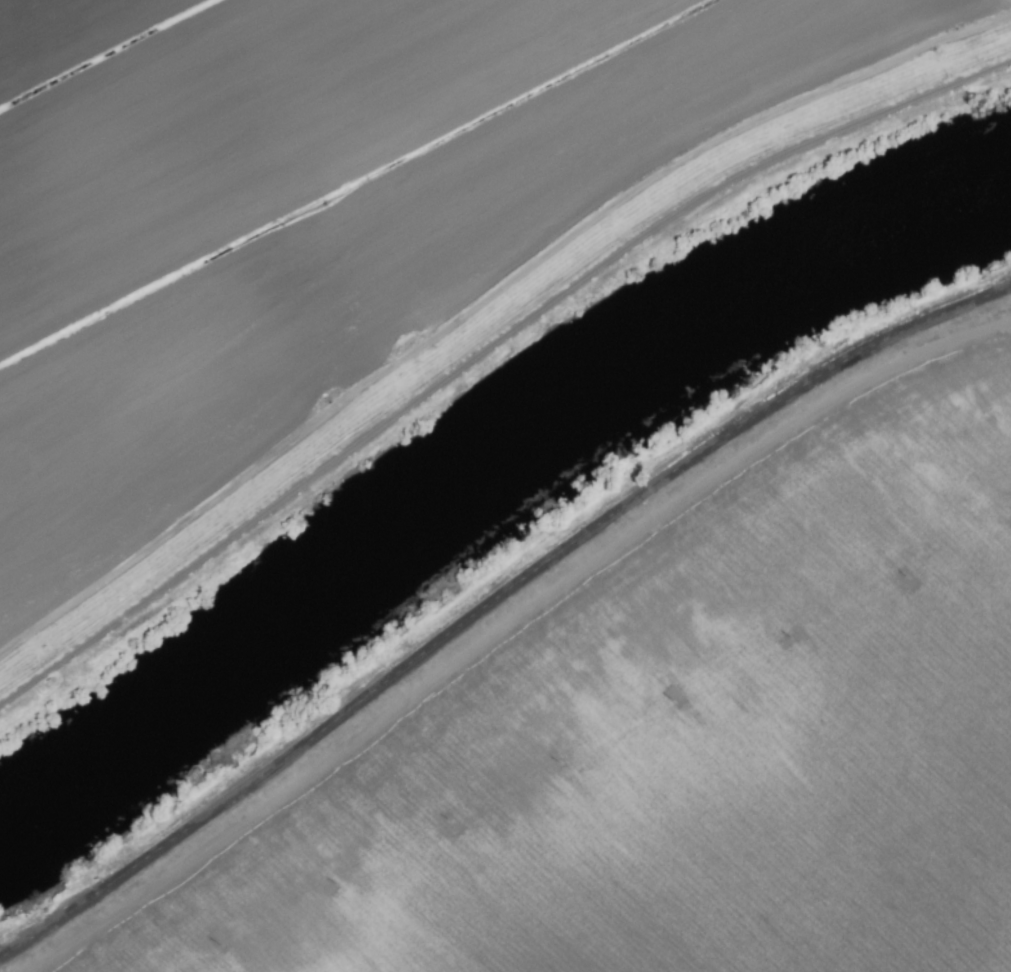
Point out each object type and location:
crop: (335, 227)
road: (486, 349)
road: (493, 602)
crop: (672, 739)

